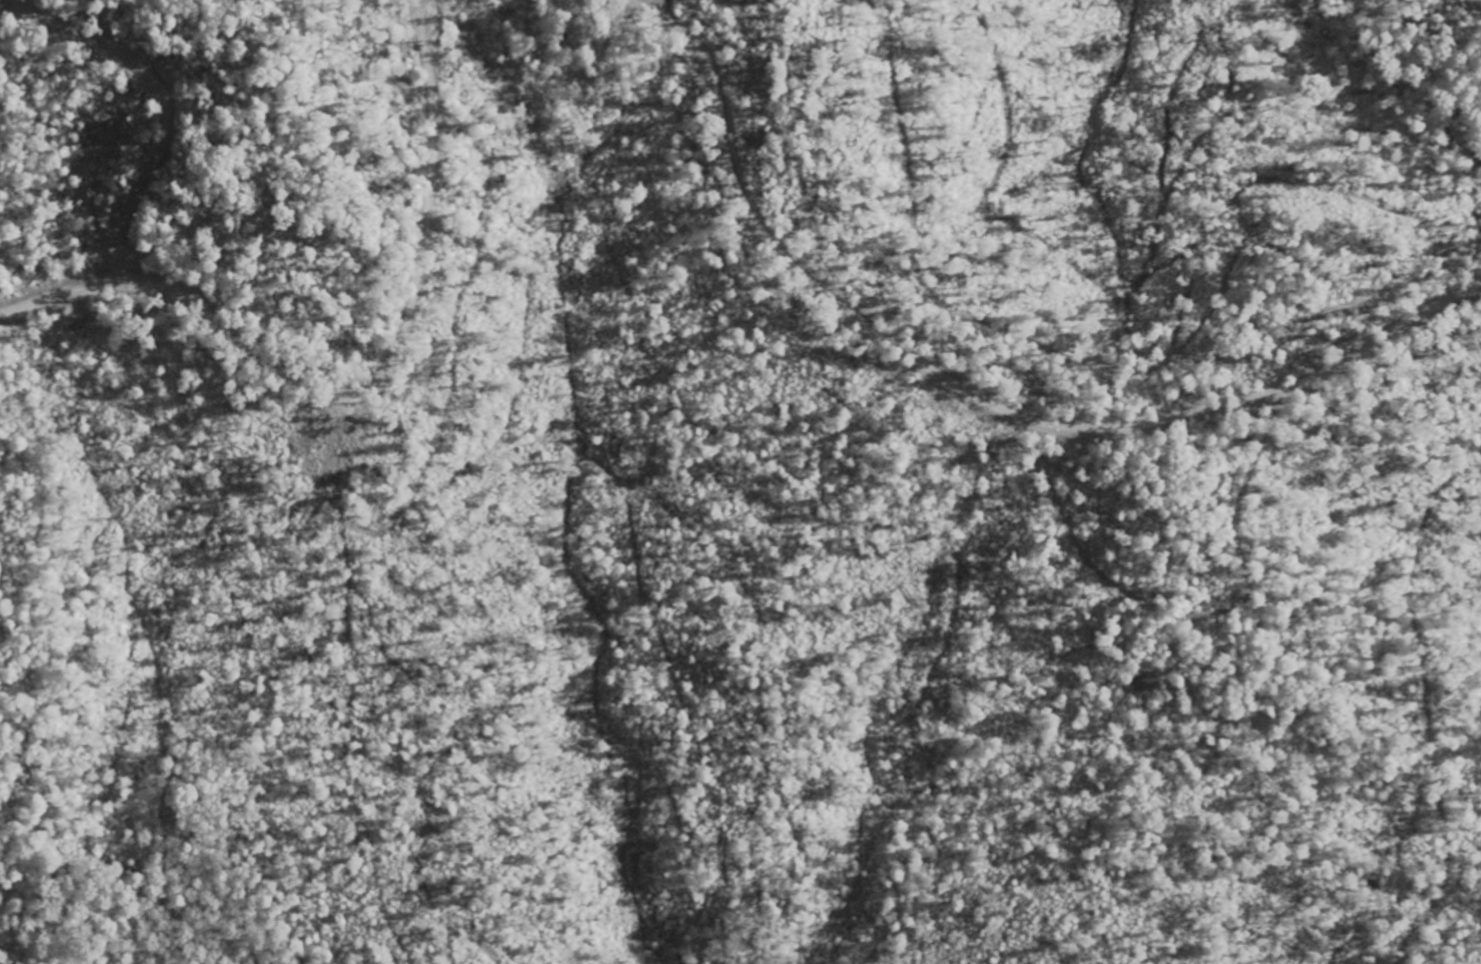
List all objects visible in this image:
road: (163, 105)
road: (364, 385)
road: (973, 394)
road: (1086, 625)

